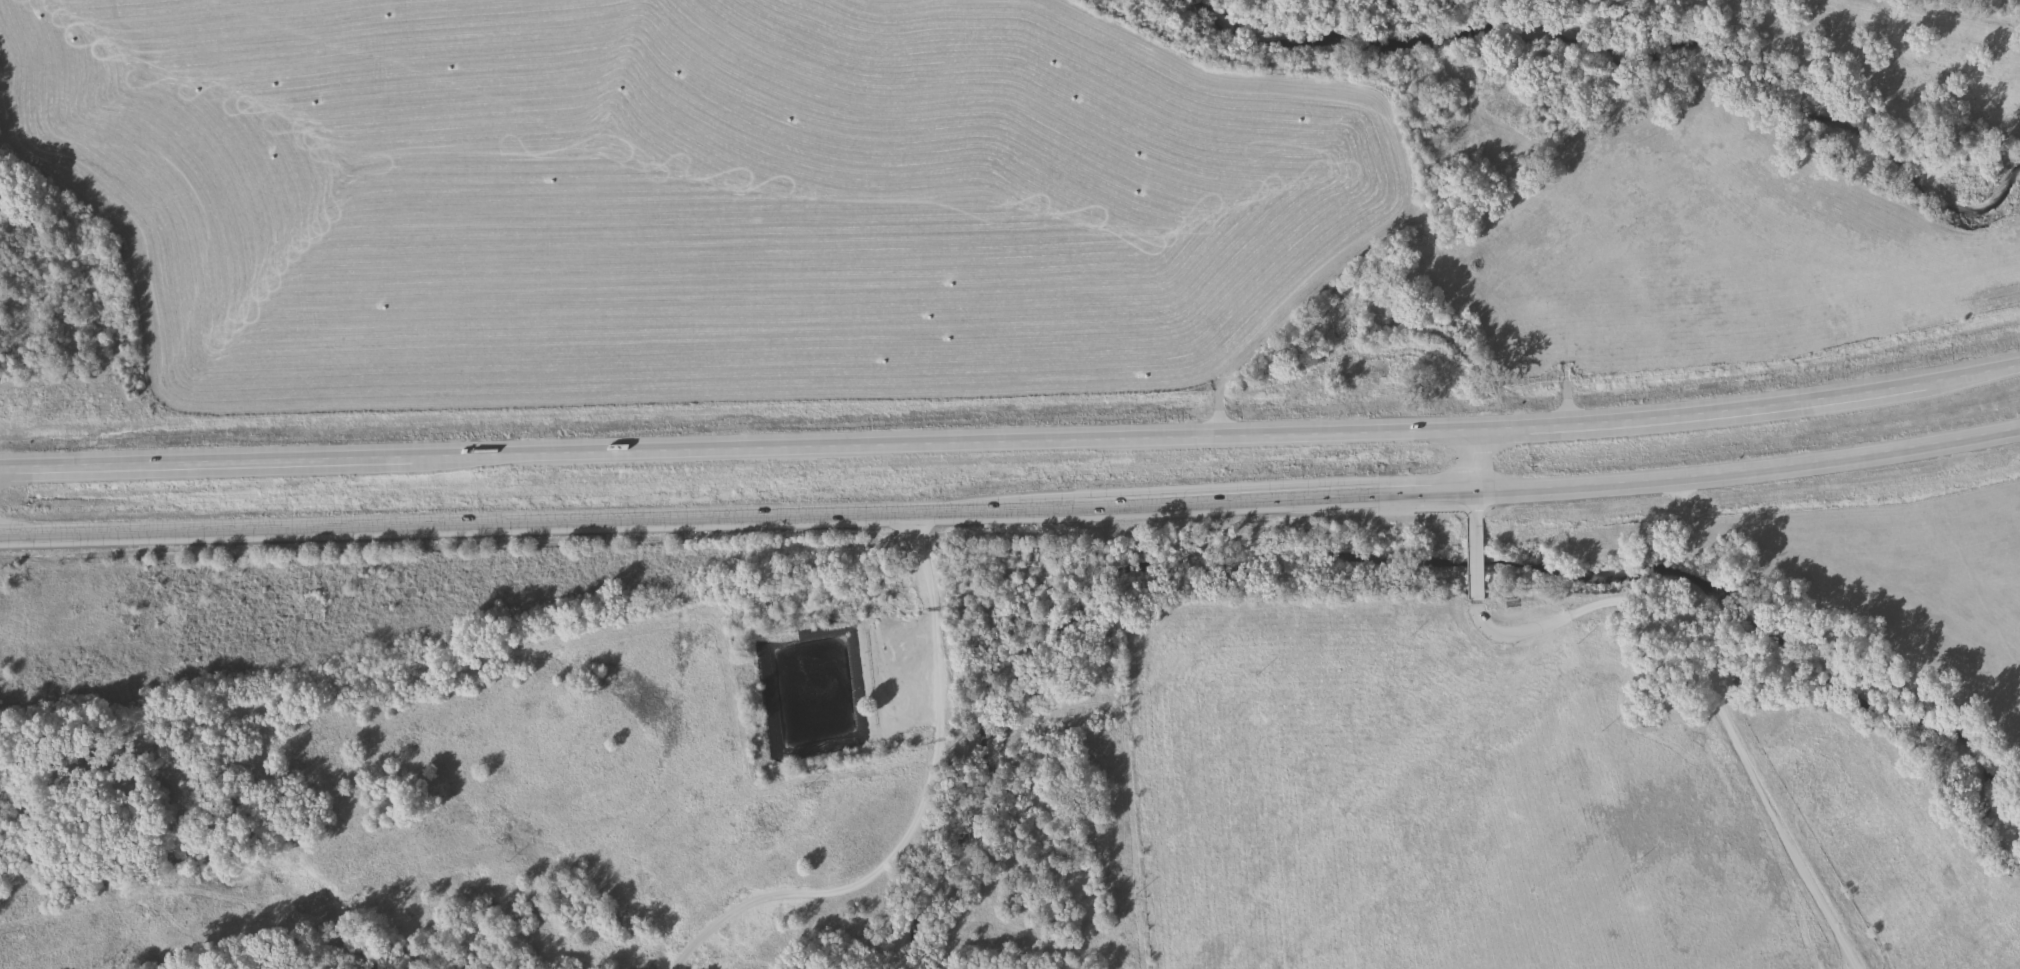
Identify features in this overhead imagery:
road: (1012, 438)
road: (1464, 461)
road: (1012, 510)
road: (1472, 548)
road: (1709, 691)
road: (916, 815)

